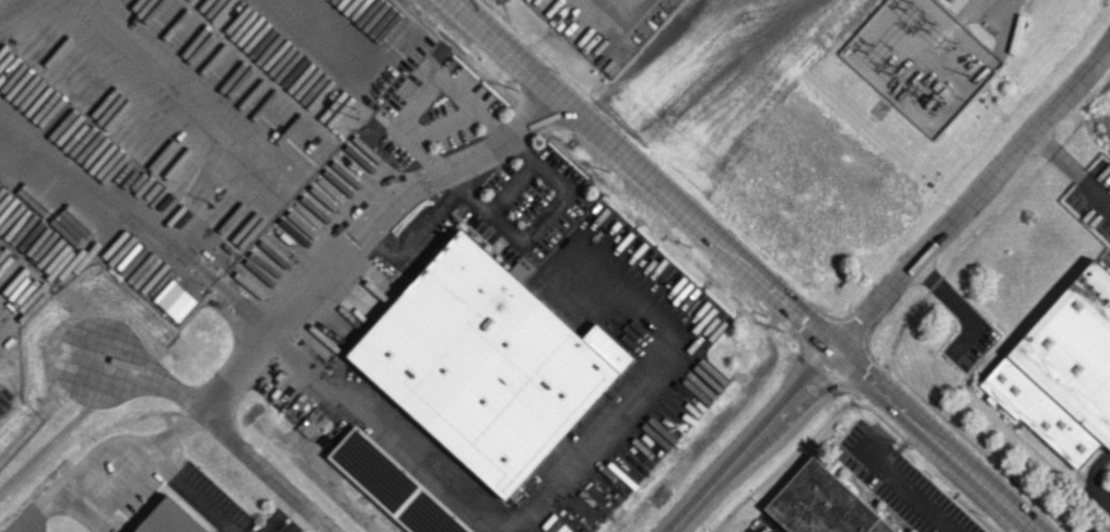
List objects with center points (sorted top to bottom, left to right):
road: (5, 2)
road: (998, 5)
road: (627, 25)
road: (338, 38)
power substation: (918, 60)
road: (429, 88)
road: (174, 90)
power tower: (358, 113)
road: (1070, 167)
road: (643, 174)
road: (971, 197)
road: (139, 220)
road: (541, 227)
road: (363, 233)
road: (419, 237)
building: (517, 270)
road: (946, 294)
building: (484, 363)
building: (1063, 369)
road: (646, 387)
road: (224, 434)
road: (388, 436)
road: (750, 440)
road: (933, 440)
road: (104, 454)
road: (886, 473)
building: (393, 486)
road: (195, 490)
road: (1101, 498)
building: (820, 504)
road: (288, 517)
building: (840, 531)

